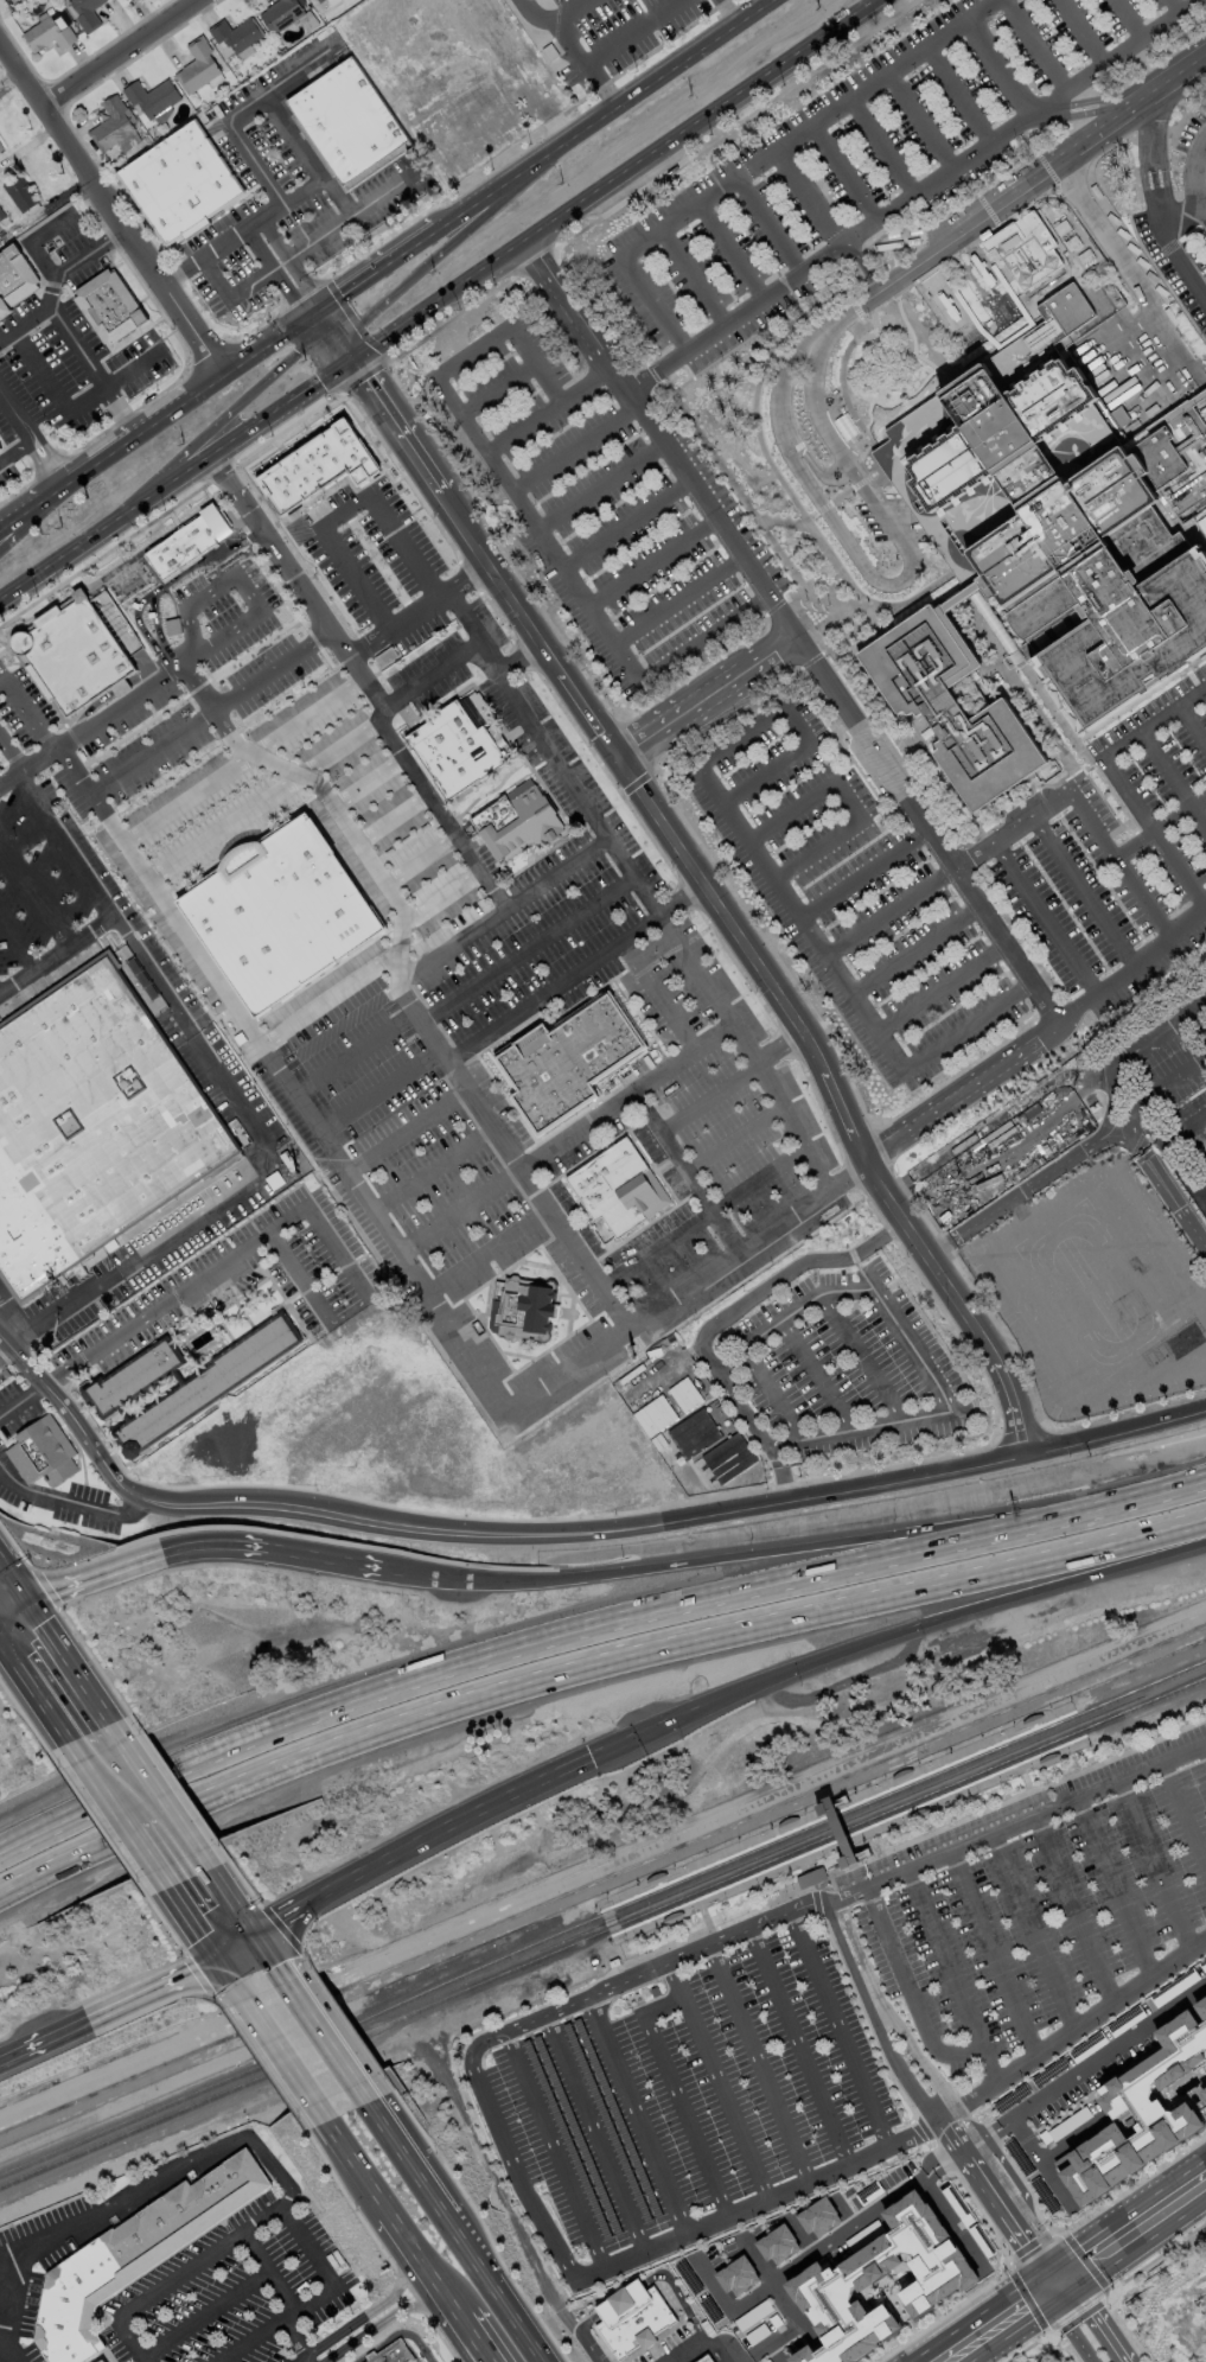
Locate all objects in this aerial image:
building: (2, 0)
building: (318, 0)
building: (530, 1)
road: (1174, 5)
road: (727, 11)
building: (85, 13)
building: (279, 13)
road: (1128, 19)
road: (626, 28)
road: (1081, 32)
building: (234, 33)
building: (46, 34)
road: (1035, 45)
road: (575, 47)
road: (117, 51)
road: (1105, 64)
building: (196, 65)
road: (296, 66)
road: (1001, 66)
road: (9, 76)
building: (149, 96)
road: (958, 96)
road: (270, 98)
road: (1080, 101)
road: (1115, 109)
road: (1083, 112)
road: (1048, 113)
road: (600, 114)
road: (920, 121)
building: (109, 125)
building: (349, 126)
building: (0, 147)
road: (882, 147)
road: (759, 159)
parking lot: (853, 164)
road: (844, 172)
road: (1191, 179)
road: (929, 186)
building: (179, 187)
building: (18, 192)
road: (383, 192)
road: (1014, 195)
road: (806, 198)
road: (1156, 204)
road: (109, 205)
road: (272, 212)
road: (768, 224)
road: (545, 231)
road: (28, 242)
road: (209, 247)
road: (729, 250)
building: (1026, 250)
road: (445, 252)
road: (1114, 257)
road: (77, 260)
road: (291, 261)
road: (375, 268)
road: (859, 268)
road: (275, 270)
building: (13, 276)
road: (691, 276)
road: (764, 297)
road: (226, 298)
building: (109, 308)
traffic signals: (315, 308)
road: (76, 342)
road: (899, 349)
traffic signals: (351, 361)
road: (657, 369)
road: (842, 382)
road: (496, 387)
road: (187, 391)
road: (818, 406)
road: (76, 408)
road: (217, 410)
road: (521, 425)
road: (33, 431)
road: (28, 443)
road: (573, 446)
building: (0, 447)
road: (14, 452)
road: (795, 463)
road: (810, 463)
building: (318, 467)
road: (600, 486)
road: (853, 488)
parking lot: (589, 489)
road: (511, 492)
road: (31, 501)
road: (345, 510)
building: (1064, 516)
road: (625, 522)
road: (38, 524)
road: (103, 527)
road: (898, 535)
building: (186, 542)
road: (651, 561)
road: (181, 572)
road: (466, 573)
building: (125, 577)
road: (293, 582)
road: (676, 598)
road: (187, 605)
road: (465, 615)
road: (240, 624)
road: (396, 624)
road: (145, 632)
building: (72, 654)
road: (505, 668)
road: (267, 670)
road: (430, 674)
road: (706, 692)
road: (107, 694)
road: (119, 706)
road: (28, 707)
building: (947, 707)
road: (1191, 727)
road: (857, 730)
road: (337, 746)
building: (458, 746)
road: (11, 752)
road: (147, 752)
road: (39, 759)
road: (240, 759)
road: (566, 776)
road: (365, 778)
road: (1173, 778)
road: (1117, 782)
road: (327, 798)
road: (848, 801)
road: (388, 815)
building: (519, 823)
road: (1157, 823)
road: (221, 826)
road: (1007, 830)
road: (918, 834)
parking lot: (1116, 858)
road: (416, 860)
road: (1117, 865)
road: (697, 866)
road: (765, 871)
road: (554, 873)
road: (943, 873)
road: (854, 878)
road: (90, 885)
parking lot: (849, 886)
road: (34, 891)
road: (1080, 891)
road: (440, 897)
road: (645, 897)
road: (494, 899)
road: (969, 912)
building: (281, 913)
road: (878, 915)
road: (1042, 918)
road: (187, 940)
road: (15, 941)
road: (527, 951)
road: (996, 953)
road: (904, 954)
road: (575, 968)
road: (1130, 968)
road: (151, 972)
road: (707, 986)
road: (1019, 987)
road: (656, 994)
road: (931, 994)
road: (326, 995)
road: (1198, 1021)
road: (327, 1032)
road: (781, 1042)
road: (352, 1052)
road: (1124, 1053)
building: (566, 1061)
parking lot: (1159, 1069)
road: (1155, 1089)
road: (379, 1091)
road: (708, 1094)
road: (625, 1095)
road: (1174, 1108)
building: (90, 1126)
road: (1182, 1129)
road: (404, 1131)
road: (733, 1134)
road: (1135, 1142)
building: (1140, 1152)
road: (1140, 1152)
road: (1186, 1157)
road: (1122, 1161)
road: (687, 1169)
road: (819, 1169)
road: (432, 1171)
road: (257, 1174)
road: (1029, 1185)
building: (620, 1190)
road: (746, 1190)
road: (1186, 1199)
building: (1201, 1201)
road: (1174, 1202)
road: (458, 1210)
road: (1025, 1220)
road: (486, 1253)
theme park: (994, 1274)
road: (780, 1278)
parking lot: (1093, 1294)
road: (366, 1295)
road: (70, 1299)
road: (804, 1304)
building: (524, 1311)
road: (615, 1313)
road: (20, 1319)
road: (134, 1324)
road: (449, 1332)
road: (745, 1349)
road: (912, 1349)
road: (5, 1351)
road: (863, 1357)
road: (730, 1363)
building: (647, 1367)
parking lot: (847, 1367)
road: (817, 1375)
building: (135, 1379)
building: (208, 1386)
road: (773, 1395)
road: (742, 1411)
building: (716, 1415)
road: (860, 1428)
building: (694, 1433)
building: (40, 1453)
building: (728, 1458)
road: (780, 1473)
road: (1142, 1498)
road: (69, 1501)
road: (570, 1532)
road: (190, 1546)
road: (733, 1555)
road: (893, 1634)
road: (527, 1647)
road: (589, 1669)
road: (42, 1673)
building: (1032, 1719)
road: (90, 1738)
road: (1205, 1752)
traffic signals: (591, 1756)
building: (1048, 1758)
building: (901, 1774)
road: (1033, 1791)
road: (1017, 1798)
road: (139, 1808)
railway: (840, 1809)
building: (918, 1813)
road: (1186, 1816)
building: (787, 1822)
road: (1016, 1827)
road: (433, 1834)
road: (838, 1838)
railway: (851, 1840)
building: (844, 1850)
road: (1159, 1867)
building: (810, 1877)
road: (830, 1877)
building: (656, 1878)
road: (1117, 1890)
road: (210, 1908)
road: (678, 1908)
road: (1076, 1911)
railway: (600, 1917)
building: (672, 1917)
parking lot: (1042, 1918)
road: (611, 1922)
road: (260, 1935)
road: (1034, 1935)
railway: (602, 1936)
traffic signals: (238, 1948)
road: (256, 1954)
road: (993, 1957)
road: (637, 1960)
building: (612, 1962)
road: (236, 1968)
road: (639, 1974)
road: (953, 1979)
building: (653, 1991)
road: (911, 1992)
road: (120, 2008)
road: (887, 2011)
road: (874, 2019)
road: (313, 2020)
road: (838, 2029)
road: (1071, 2035)
road: (798, 2046)
road: (274, 2048)
road: (1109, 2051)
road: (759, 2063)
road: (719, 2080)
building: (1204, 2094)
road: (901, 2095)
road: (677, 2096)
parking lot: (688, 2097)
building: (1138, 2112)
road: (639, 2115)
building: (617, 2119)
building: (605, 2121)
road: (993, 2127)
road: (1003, 2131)
building: (576, 2134)
road: (595, 2135)
building: (566, 2138)
road: (945, 2138)
road: (1071, 2140)
road: (964, 2145)
road: (400, 2148)
road: (557, 2151)
road: (350, 2159)
road: (1041, 2162)
road: (266, 2163)
road: (1009, 2176)
road: (1010, 2194)
road: (502, 2197)
road: (1002, 2217)
building: (818, 2218)
road: (949, 2222)
road: (1138, 2223)
road: (837, 2235)
building: (777, 2246)
road: (652, 2253)
building: (135, 2258)
road: (757, 2262)
road: (422, 2266)
traffic signals: (1071, 2271)
building: (840, 2274)
building: (738, 2278)
road: (1059, 2279)
traffic signals: (1047, 2287)
road: (500, 2290)
road: (285, 2292)
road: (313, 2296)
road: (618, 2299)
road: (684, 2307)
road: (205, 2309)
road: (726, 2309)
road: (369, 2311)
building: (630, 2317)
road: (1100, 2317)
road: (379, 2322)
building: (758, 2323)
road: (994, 2324)
road: (1072, 2324)
road: (394, 2335)
road: (585, 2336)
road: (471, 2341)
road: (682, 2348)
building: (389, 2355)
building: (704, 2358)
building: (102, 2360)

